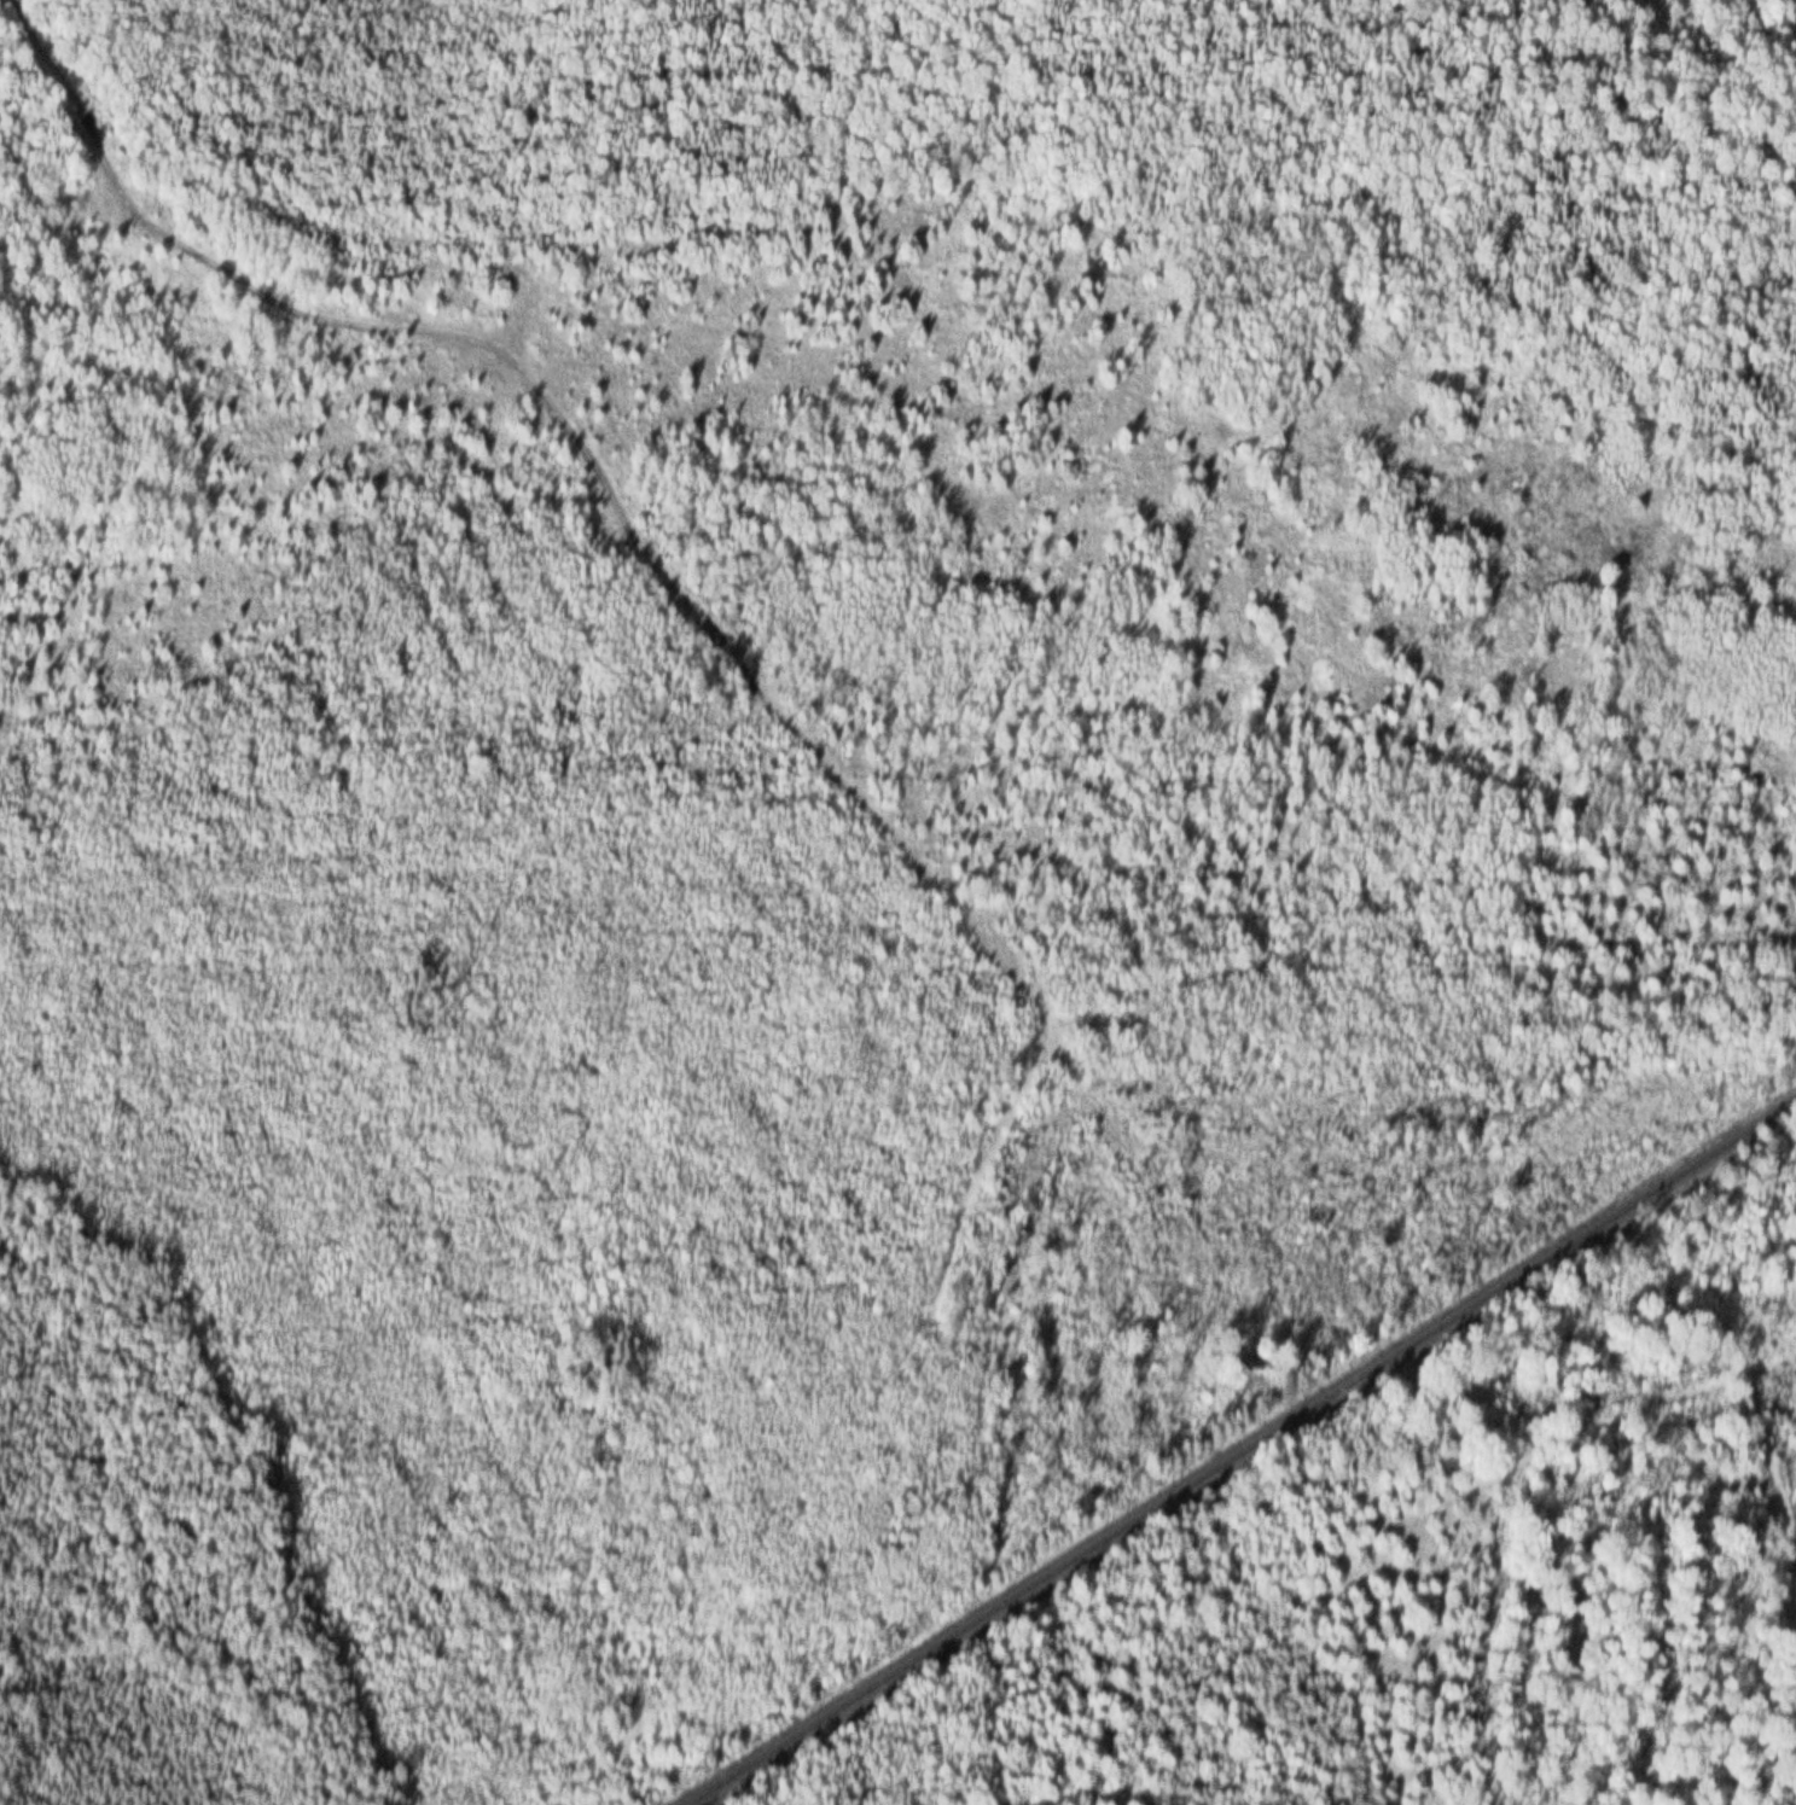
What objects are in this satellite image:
railway: (1240, 1454)

